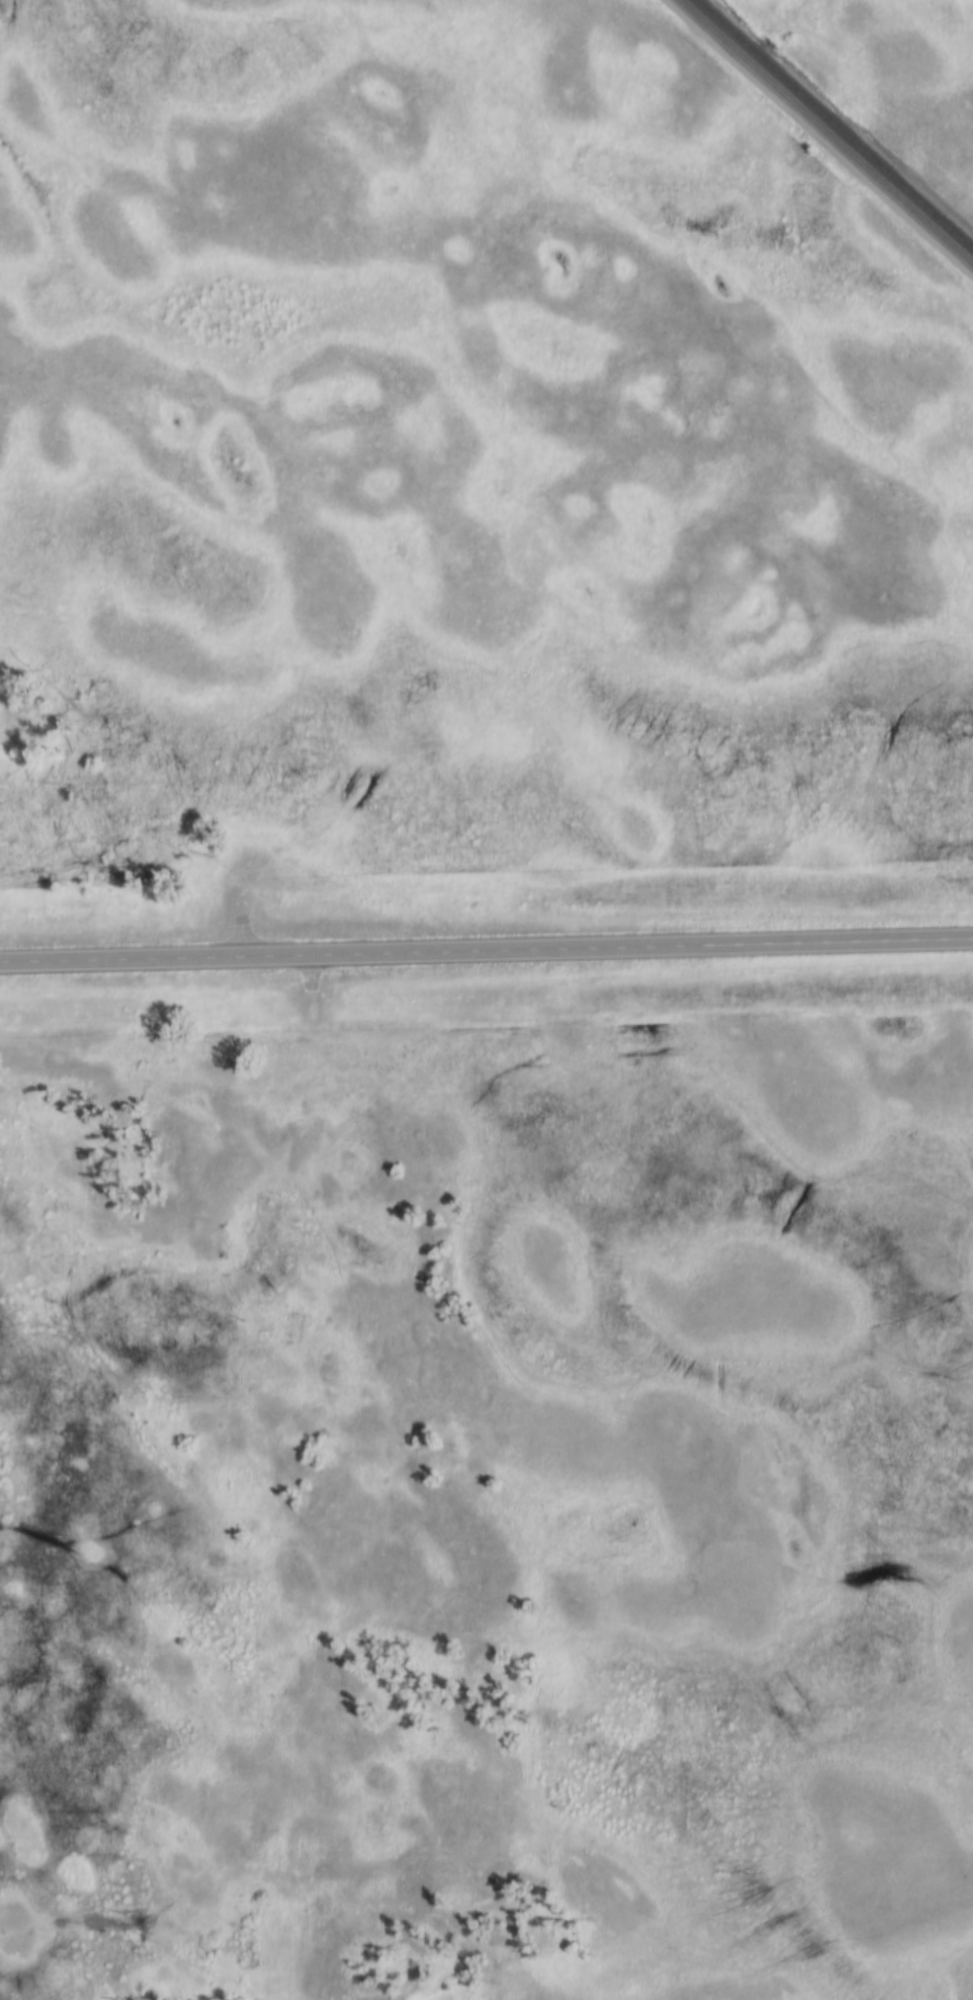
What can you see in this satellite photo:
railway: (832, 126)
railway: (825, 132)
road: (486, 952)

